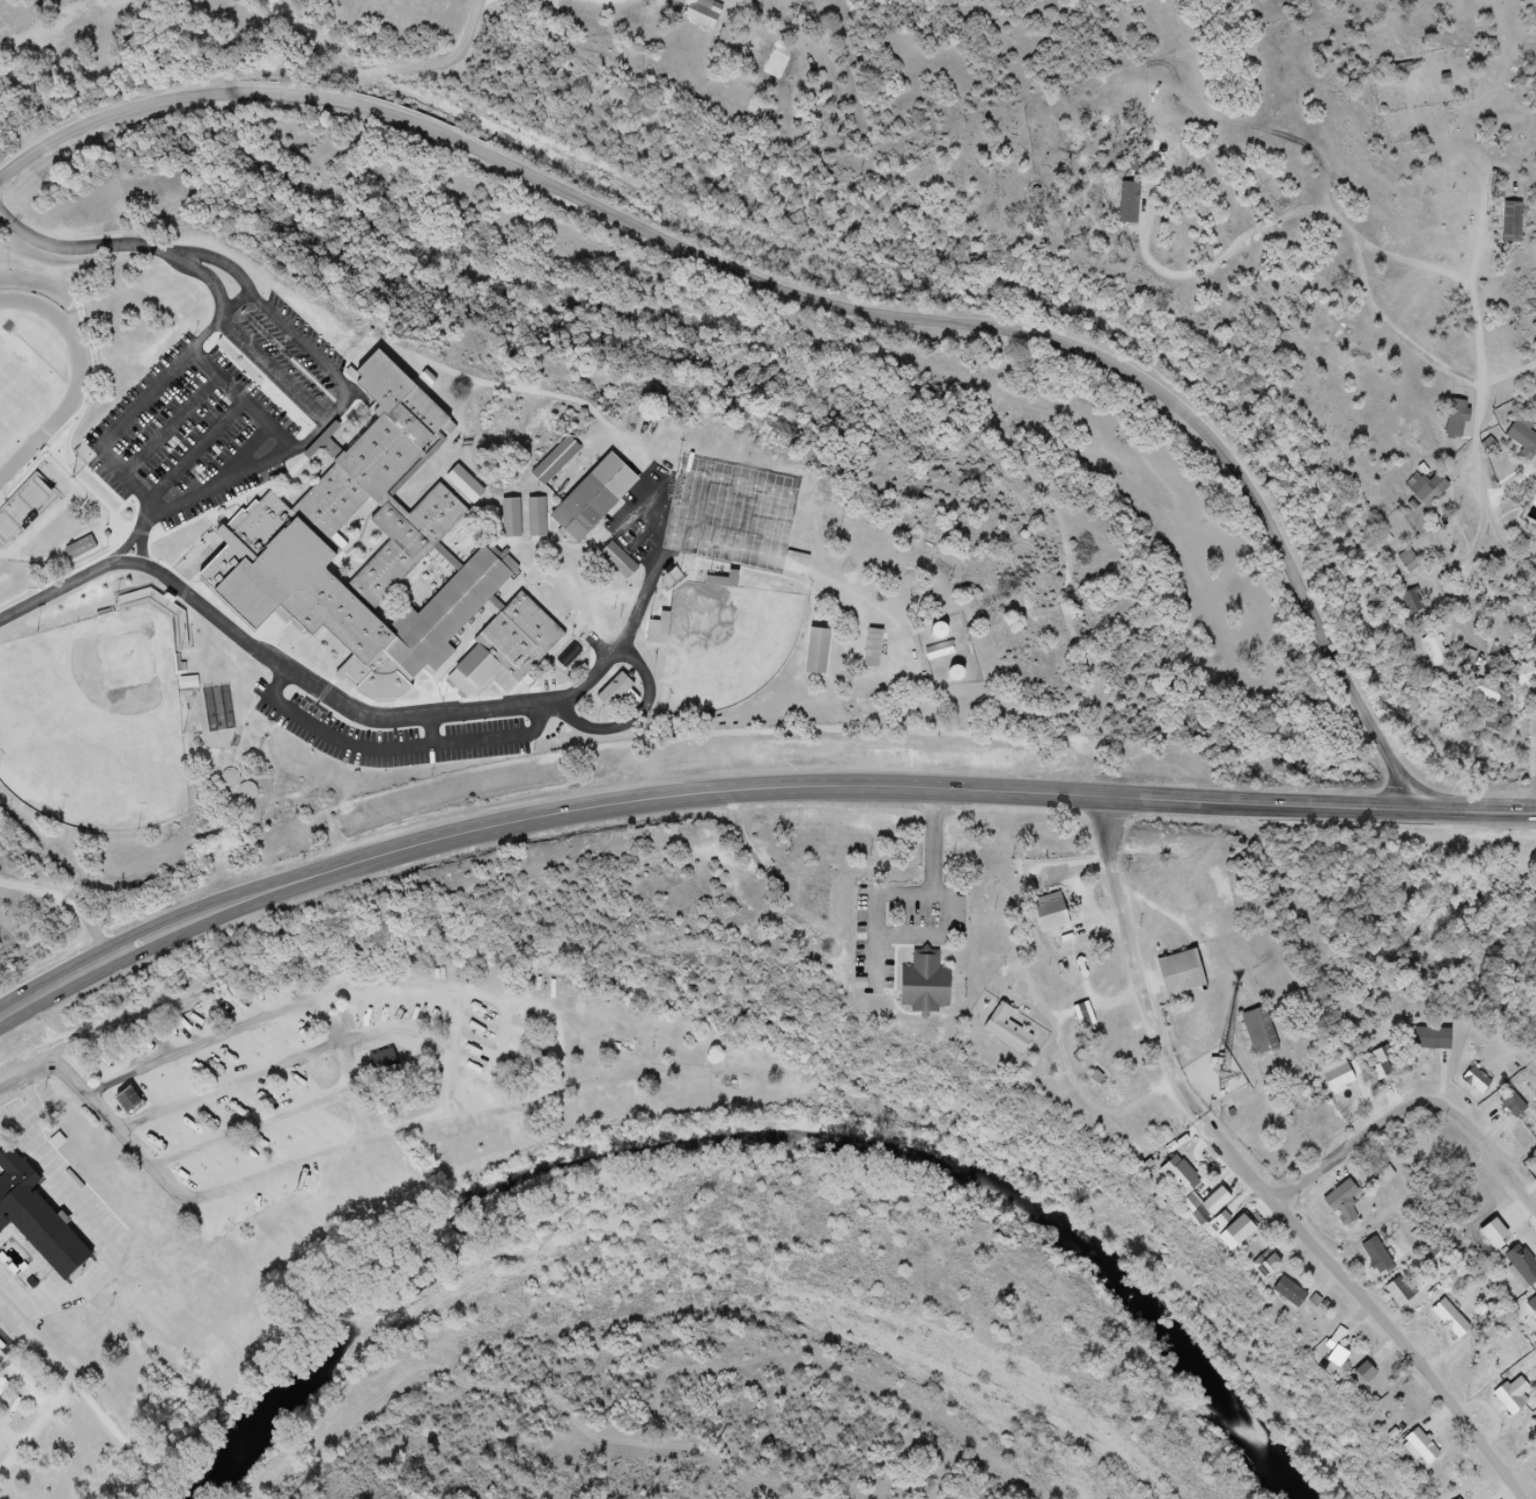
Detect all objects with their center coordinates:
road: (501, 2)
road: (612, 3)
building: (711, 17)
building: (728, 37)
road: (352, 73)
building: (1514, 222)
road: (86, 248)
road: (805, 294)
road: (237, 304)
road: (301, 340)
road: (1476, 352)
road: (271, 369)
track: (86, 384)
road: (493, 385)
road: (156, 387)
park: (19, 415)
parking lot: (218, 418)
building: (1459, 418)
road: (266, 421)
road: (171, 426)
stadium: (49, 429)
building: (1524, 435)
road: (285, 438)
road: (198, 451)
building: (556, 460)
building: (464, 483)
building: (1430, 490)
road: (201, 496)
building: (593, 499)
building: (23, 509)
building: (511, 518)
building: (537, 518)
building: (288, 527)
building: (82, 548)
road: (126, 549)
building: (619, 560)
building: (1410, 560)
building: (726, 580)
road: (63, 590)
building: (1414, 601)
building: (1511, 602)
building: (181, 628)
building: (659, 629)
building: (508, 646)
park: (725, 647)
building: (1437, 649)
building: (942, 651)
building: (818, 652)
building: (1524, 677)
building: (190, 683)
building: (617, 692)
building: (1494, 704)
road: (409, 717)
road: (628, 723)
park: (97, 724)
road: (431, 732)
road: (1534, 734)
parking lot: (389, 736)
road: (399, 751)
road: (1533, 760)
road: (901, 788)
road: (1535, 795)
road: (936, 842)
building: (1059, 920)
road: (136, 952)
road: (1137, 967)
building: (1010, 977)
building: (1190, 983)
building: (932, 992)
road: (538, 1009)
building: (1015, 1033)
building: (1270, 1044)
building: (1439, 1047)
road: (308, 1056)
road: (345, 1065)
building: (386, 1066)
road: (454, 1081)
building: (1482, 1086)
building: (129, 1100)
road: (96, 1110)
road: (1416, 1111)
building: (1523, 1113)
road: (250, 1129)
river: (741, 1137)
road: (1239, 1167)
building: (1388, 1174)
building: (1204, 1205)
building: (1351, 1212)
building: (39, 1219)
building: (1248, 1245)
building: (1500, 1245)
building: (1272, 1266)
building: (1387, 1267)
building: (1528, 1270)
building: (1273, 1277)
building: (35, 1284)
building: (1299, 1301)
building: (1407, 1303)
building: (1322, 1304)
building: (1534, 1311)
building: (1458, 1326)
road: (37, 1342)
road: (1403, 1348)
building: (1343, 1363)
building: (1369, 1373)
building: (1373, 1385)
road: (23, 1387)
building: (1520, 1401)
road: (36, 1424)
building: (1533, 1432)
road: (8, 1437)
building: (1428, 1452)

